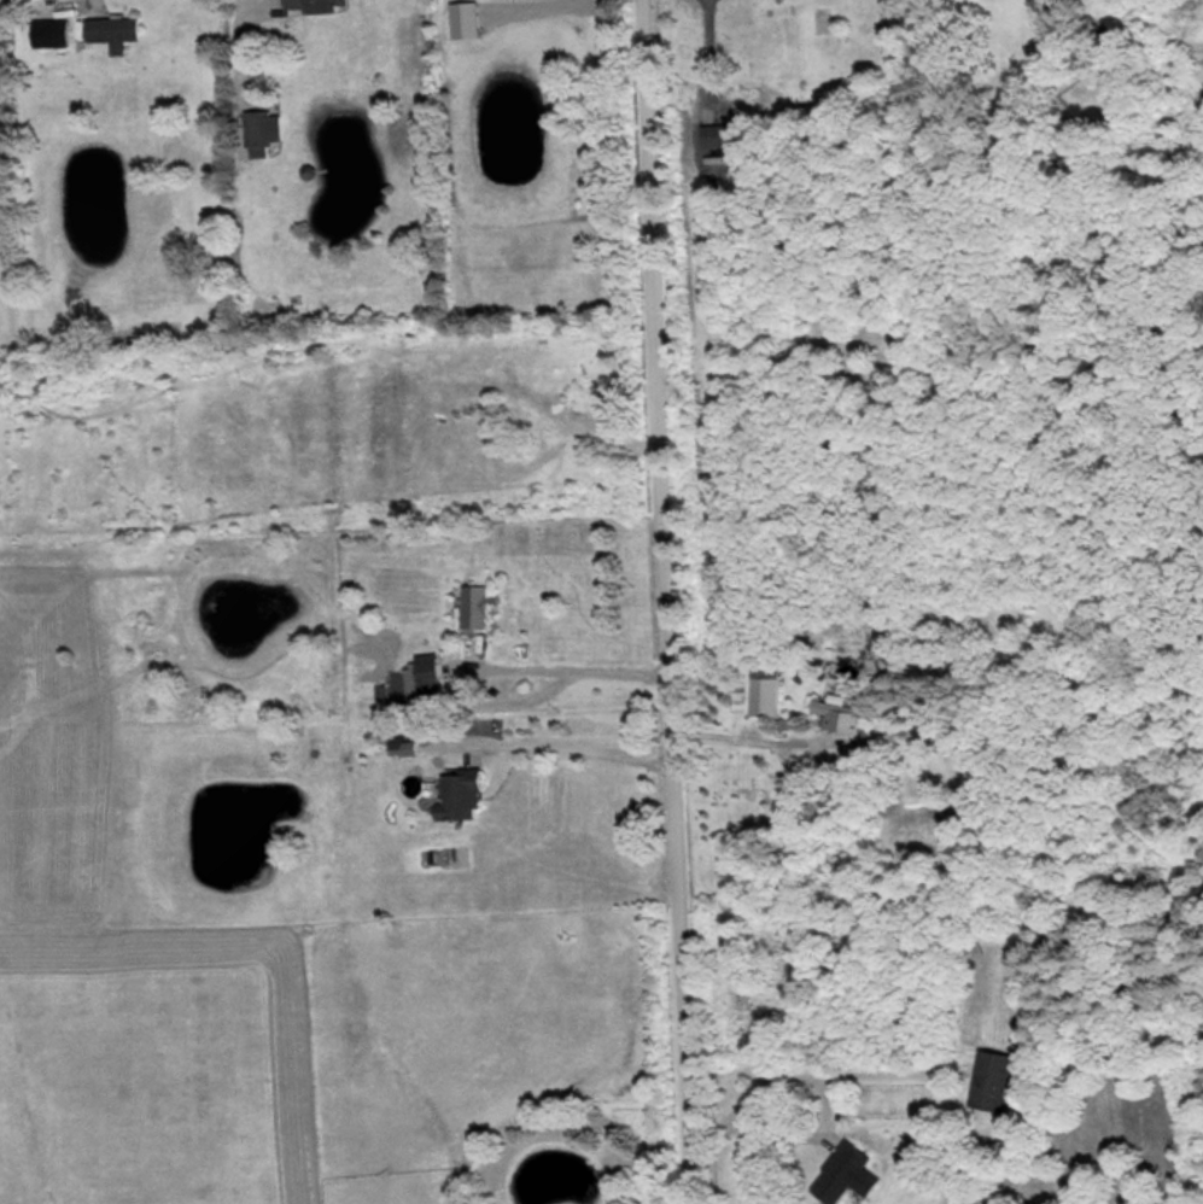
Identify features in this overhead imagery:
building: (315, 5)
building: (471, 19)
road: (243, 23)
building: (116, 30)
building: (56, 31)
building: (268, 128)
road: (659, 602)
building: (480, 606)
road: (568, 661)
building: (432, 673)
building: (769, 692)
building: (837, 714)
building: (466, 795)
building: (993, 1080)
building: (851, 1173)

